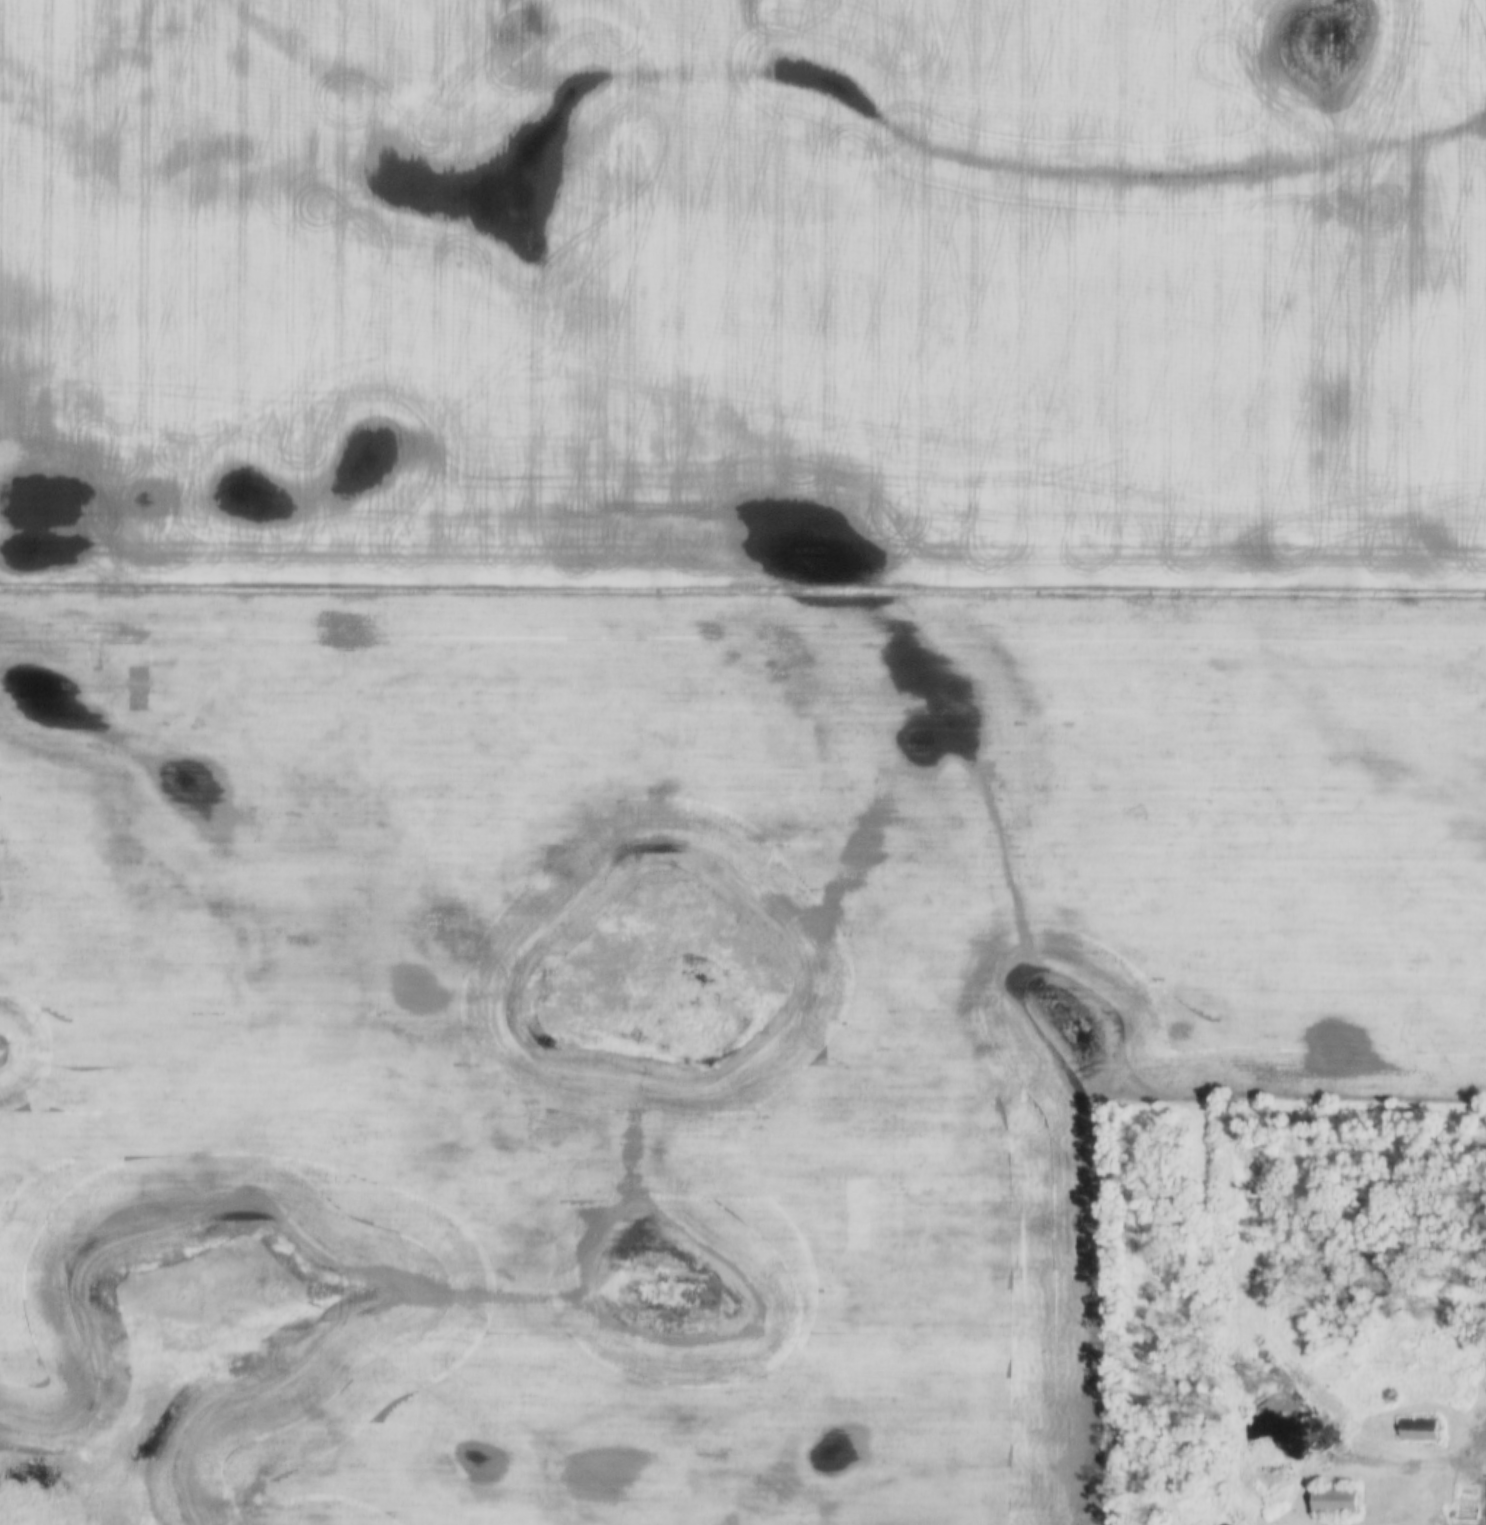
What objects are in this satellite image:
building: (1417, 1429)
building: (1334, 1501)

